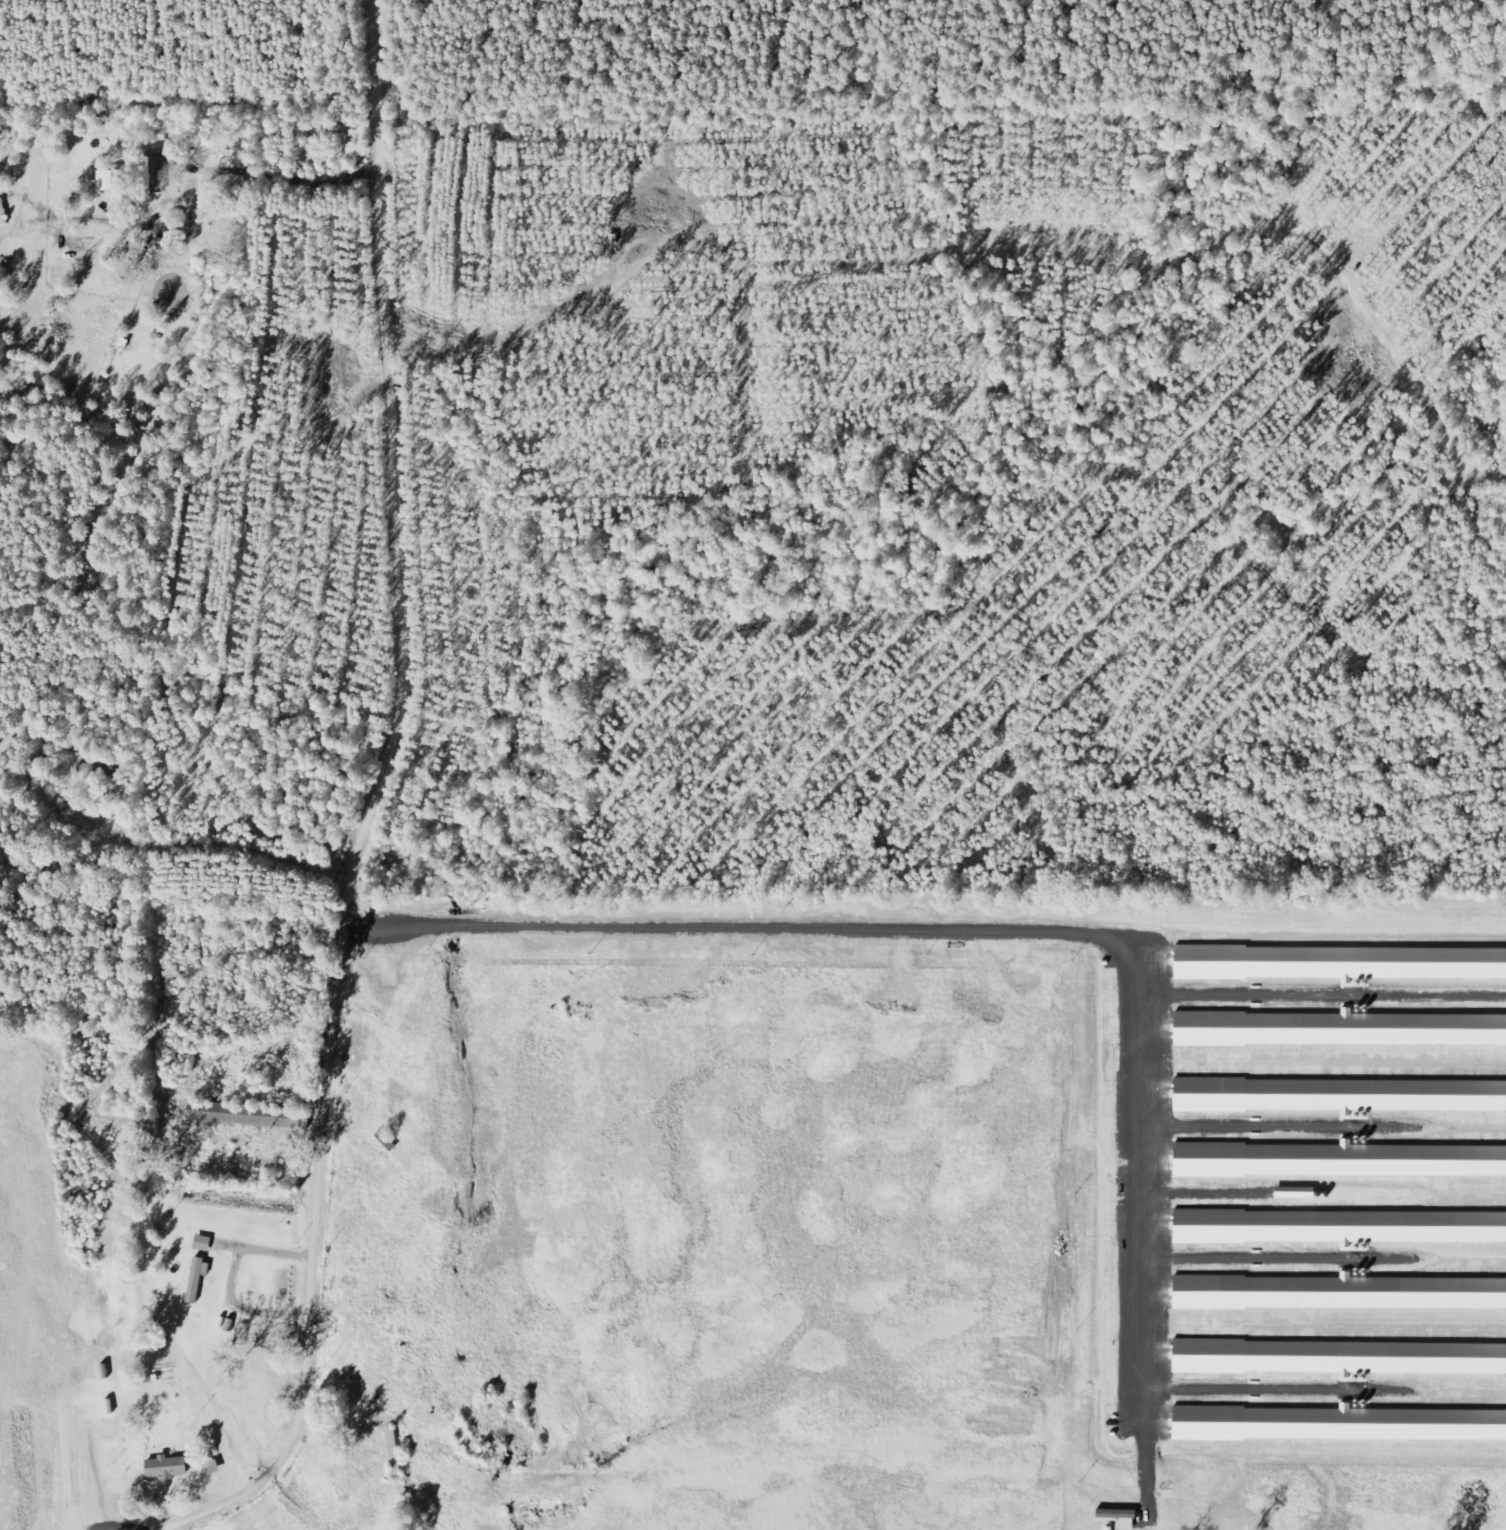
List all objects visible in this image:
building: (154, 175)
building: (117, 181)
road: (374, 791)
building: (1341, 963)
building: (1342, 1029)
building: (1343, 1096)
building: (1341, 1161)
building: (1341, 1228)
building: (1340, 1293)
building: (1341, 1358)
building: (1341, 1424)
building: (171, 1467)

